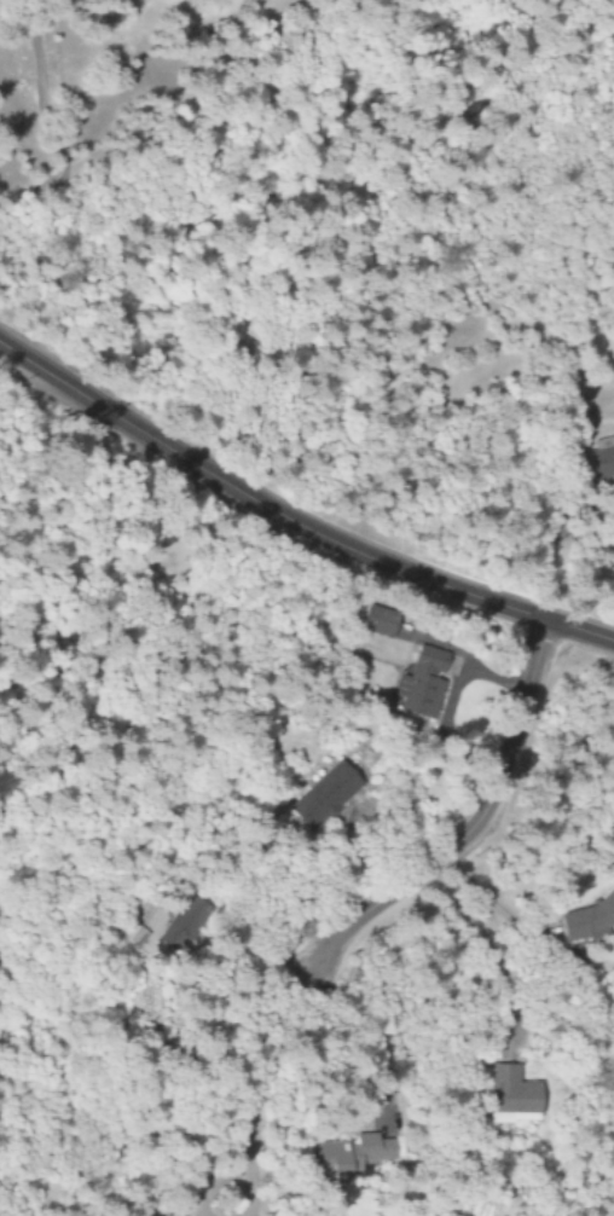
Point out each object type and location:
building: (603, 458)
road: (291, 523)
building: (380, 620)
building: (423, 685)
building: (326, 795)
road: (477, 817)
building: (590, 917)
road: (259, 1087)
building: (514, 1096)
building: (353, 1154)

